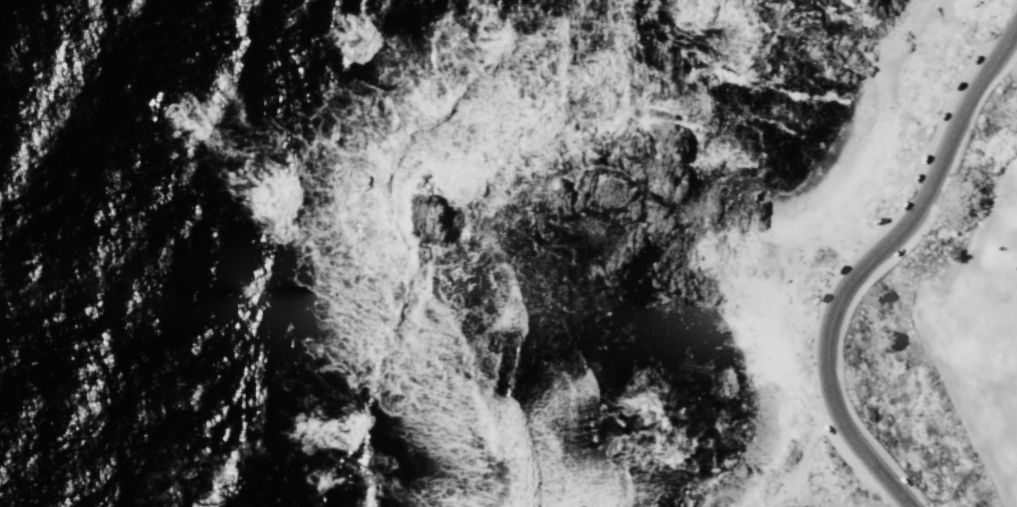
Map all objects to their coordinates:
road: (866, 261)
park: (949, 330)
road: (801, 461)

